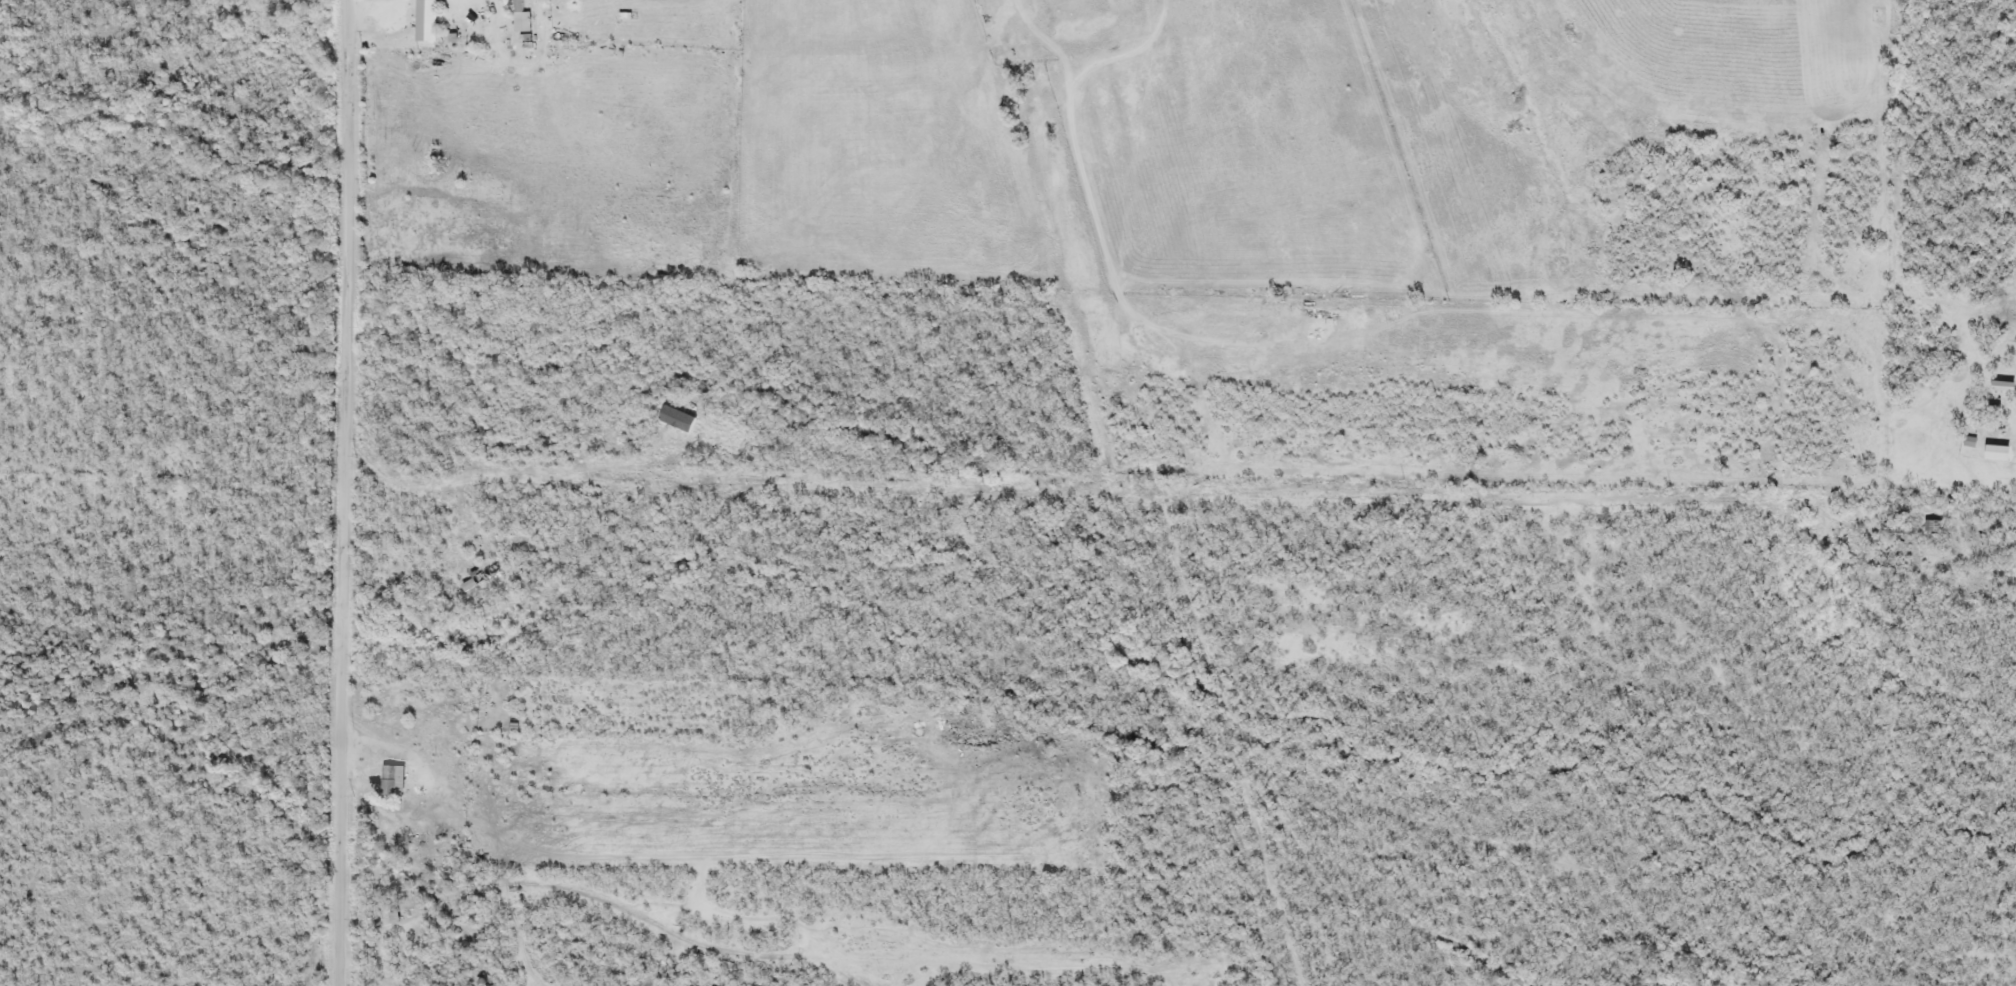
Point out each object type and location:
building: (1071, 1)
road: (1040, 2)
building: (518, 18)
building: (423, 22)
building: (2000, 392)
road: (1105, 490)
road: (339, 492)
building: (391, 783)

